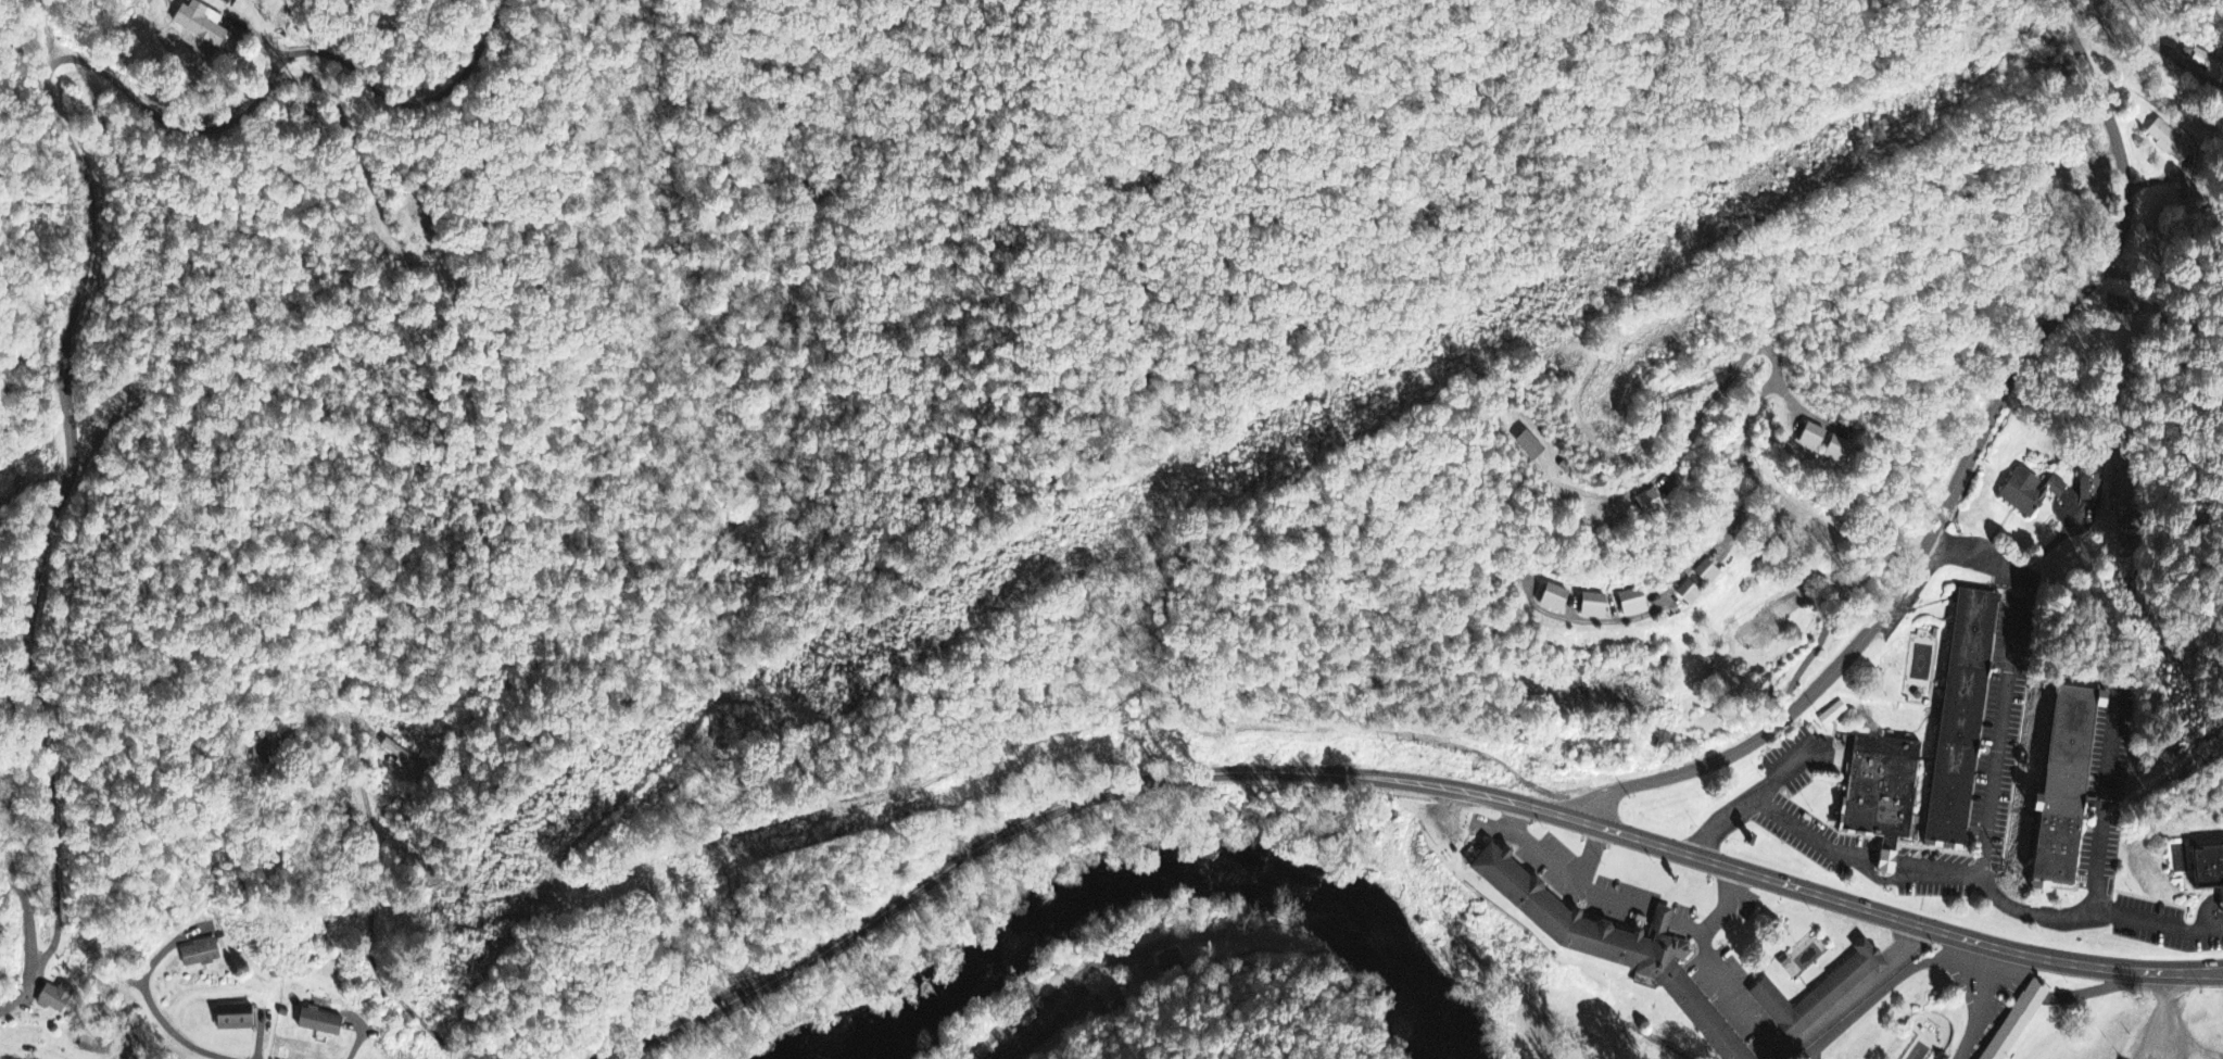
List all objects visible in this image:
building: (204, 25)
building: (2169, 142)
park: (422, 247)
road: (83, 263)
road: (2173, 292)
road: (1756, 402)
building: (1809, 438)
building: (1529, 445)
building: (1836, 451)
road: (1962, 472)
building: (2091, 486)
building: (2026, 492)
building: (1644, 504)
building: (1704, 575)
road: (1663, 592)
building: (1685, 594)
building: (1550, 600)
building: (1632, 604)
building: (1589, 607)
building: (1758, 633)
building: (1957, 715)
building: (1831, 716)
building: (261, 756)
building: (402, 756)
building: (2059, 784)
building: (1875, 790)
building: (2206, 863)
road: (1734, 868)
river: (1052, 885)
road: (909, 887)
road: (24, 909)
building: (1606, 948)
building: (203, 954)
river: (1384, 973)
building: (1818, 989)
building: (58, 999)
building: (1111, 999)
building: (238, 1019)
building: (2013, 1021)
building: (324, 1023)
building: (1019, 1023)
river: (799, 1049)
building: (984, 1049)

